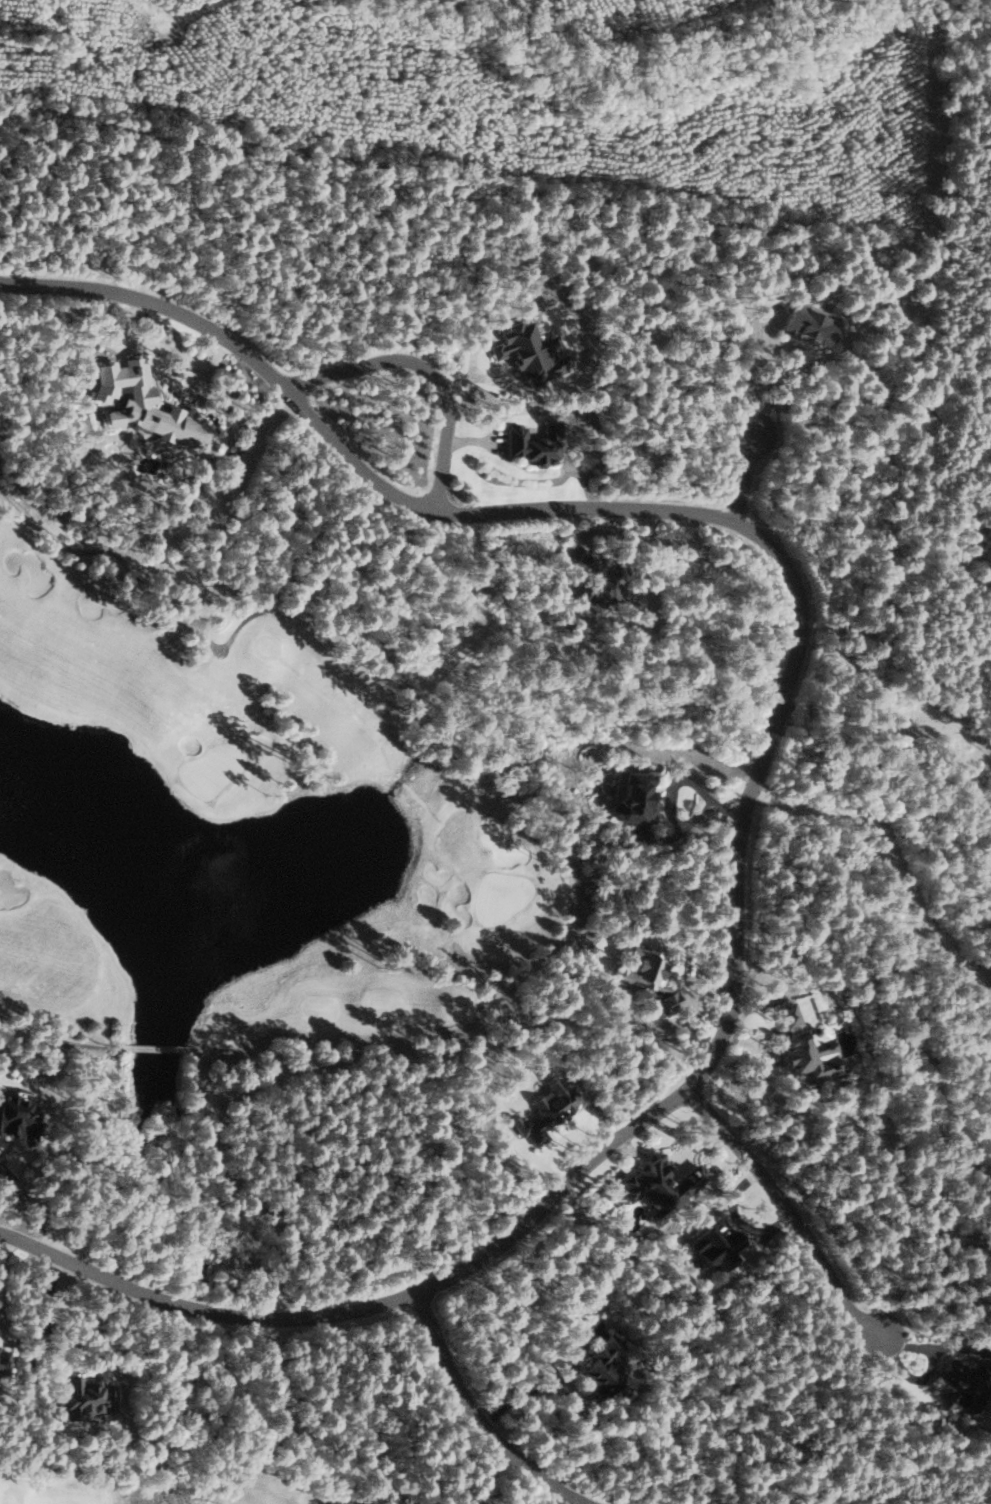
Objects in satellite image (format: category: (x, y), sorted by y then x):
building: (810, 323)
road: (426, 367)
building: (143, 403)
building: (535, 444)
road: (746, 479)
road: (716, 516)
building: (587, 561)
building: (606, 588)
building: (635, 797)
park: (247, 834)
building: (649, 974)
building: (805, 1042)
building: (545, 1110)
building: (18, 1117)
building: (661, 1184)
road: (789, 1211)
building: (716, 1243)
road: (295, 1318)
road: (938, 1347)
building: (2, 1361)
building: (604, 1367)
road: (911, 1377)
building: (962, 1378)
building: (85, 1396)
road: (476, 1417)
park: (155, 1481)

